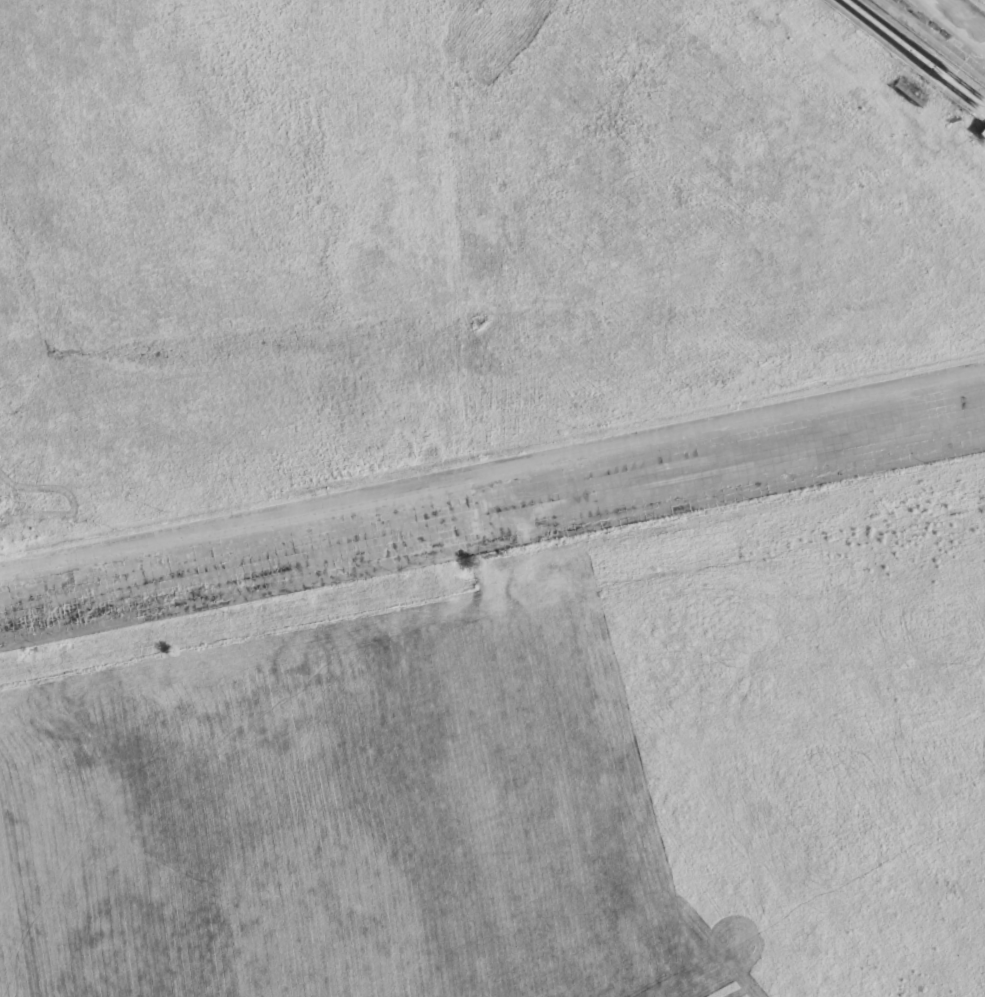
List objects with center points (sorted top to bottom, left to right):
raceway: (919, 49)
raceway: (910, 57)

